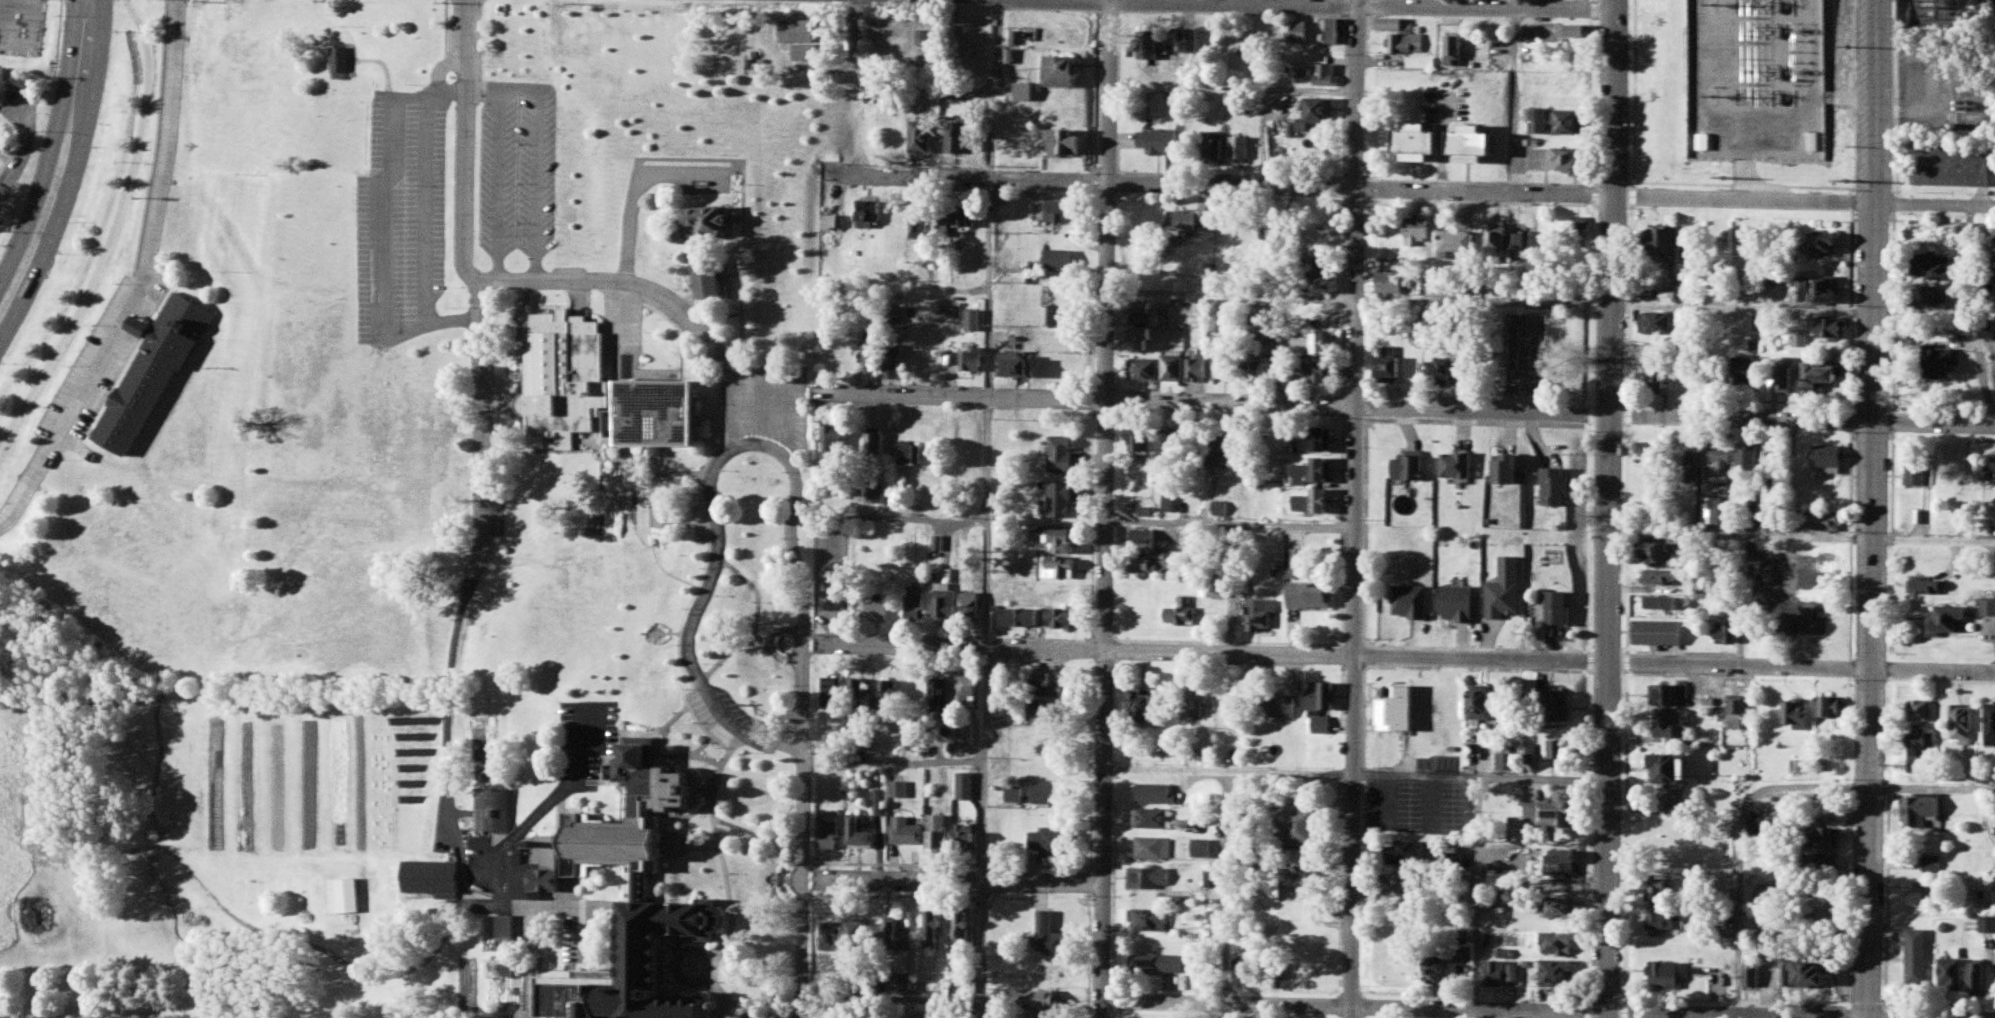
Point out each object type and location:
road: (1348, 2)
power substation: (1927, 12)
building: (1574, 34)
road: (865, 36)
road: (56, 59)
power substation: (1757, 79)
building: (1668, 81)
building: (1570, 88)
building: (1539, 124)
building: (1571, 125)
road: (53, 144)
road: (24, 151)
building: (1560, 163)
building: (1955, 165)
road: (73, 177)
road: (1434, 193)
road: (113, 229)
building: (1578, 234)
building: (1664, 242)
building: (1693, 244)
building: (1824, 244)
building: (1936, 267)
road: (488, 281)
building: (1769, 282)
road: (148, 284)
building: (1823, 291)
building: (1932, 299)
building: (1656, 324)
building: (1831, 330)
building: (1942, 364)
building: (156, 372)
building: (1824, 374)
building: (1743, 375)
building: (1785, 378)
building: (1659, 379)
building: (1715, 379)
road: (1402, 412)
building: (1829, 458)
building: (1745, 465)
building: (1773, 466)
building: (1720, 467)
building: (1689, 470)
building: (1994, 473)
building: (1917, 474)
building: (1558, 487)
building: (1968, 490)
road: (1107, 509)
road: (1358, 509)
road: (1608, 509)
road: (1870, 509)
road: (912, 519)
road: (1232, 522)
building: (1827, 523)
road: (644, 542)
road: (710, 547)
building: (1664, 563)
building: (1928, 587)
road: (752, 589)
road: (705, 602)
building: (1663, 604)
building: (1559, 608)
building: (1989, 608)
building: (1950, 621)
building: (1660, 634)
building: (1727, 635)
road: (771, 642)
road: (727, 654)
road: (1399, 658)
building: (1667, 696)
building: (1554, 707)
building: (1832, 708)
building: (1922, 712)
building: (1738, 713)
building: (1797, 716)
building: (1991, 724)
building: (1674, 725)
building: (1963, 725)
road: (803, 729)
building: (1559, 753)
building: (1922, 757)
building: (1670, 771)
road: (1932, 792)
building: (1924, 814)
building: (1552, 816)
building: (1760, 829)
building: (1820, 839)
road: (1739, 848)
building: (1932, 865)
building: (1823, 866)
building: (1562, 867)
building: (434, 870)
road: (953, 884)
building: (1659, 893)
building: (1922, 894)
building: (1769, 895)
building: (342, 897)
road: (1476, 897)
building: (1560, 910)
building: (1669, 919)
building: (1812, 926)
building: (1559, 946)
building: (1917, 958)
building: (1559, 975)
building: (1668, 975)
building: (1806, 976)
building: (1952, 976)
building: (1754, 977)
building: (1772, 979)
building: (1980, 981)
road: (1418, 1010)

